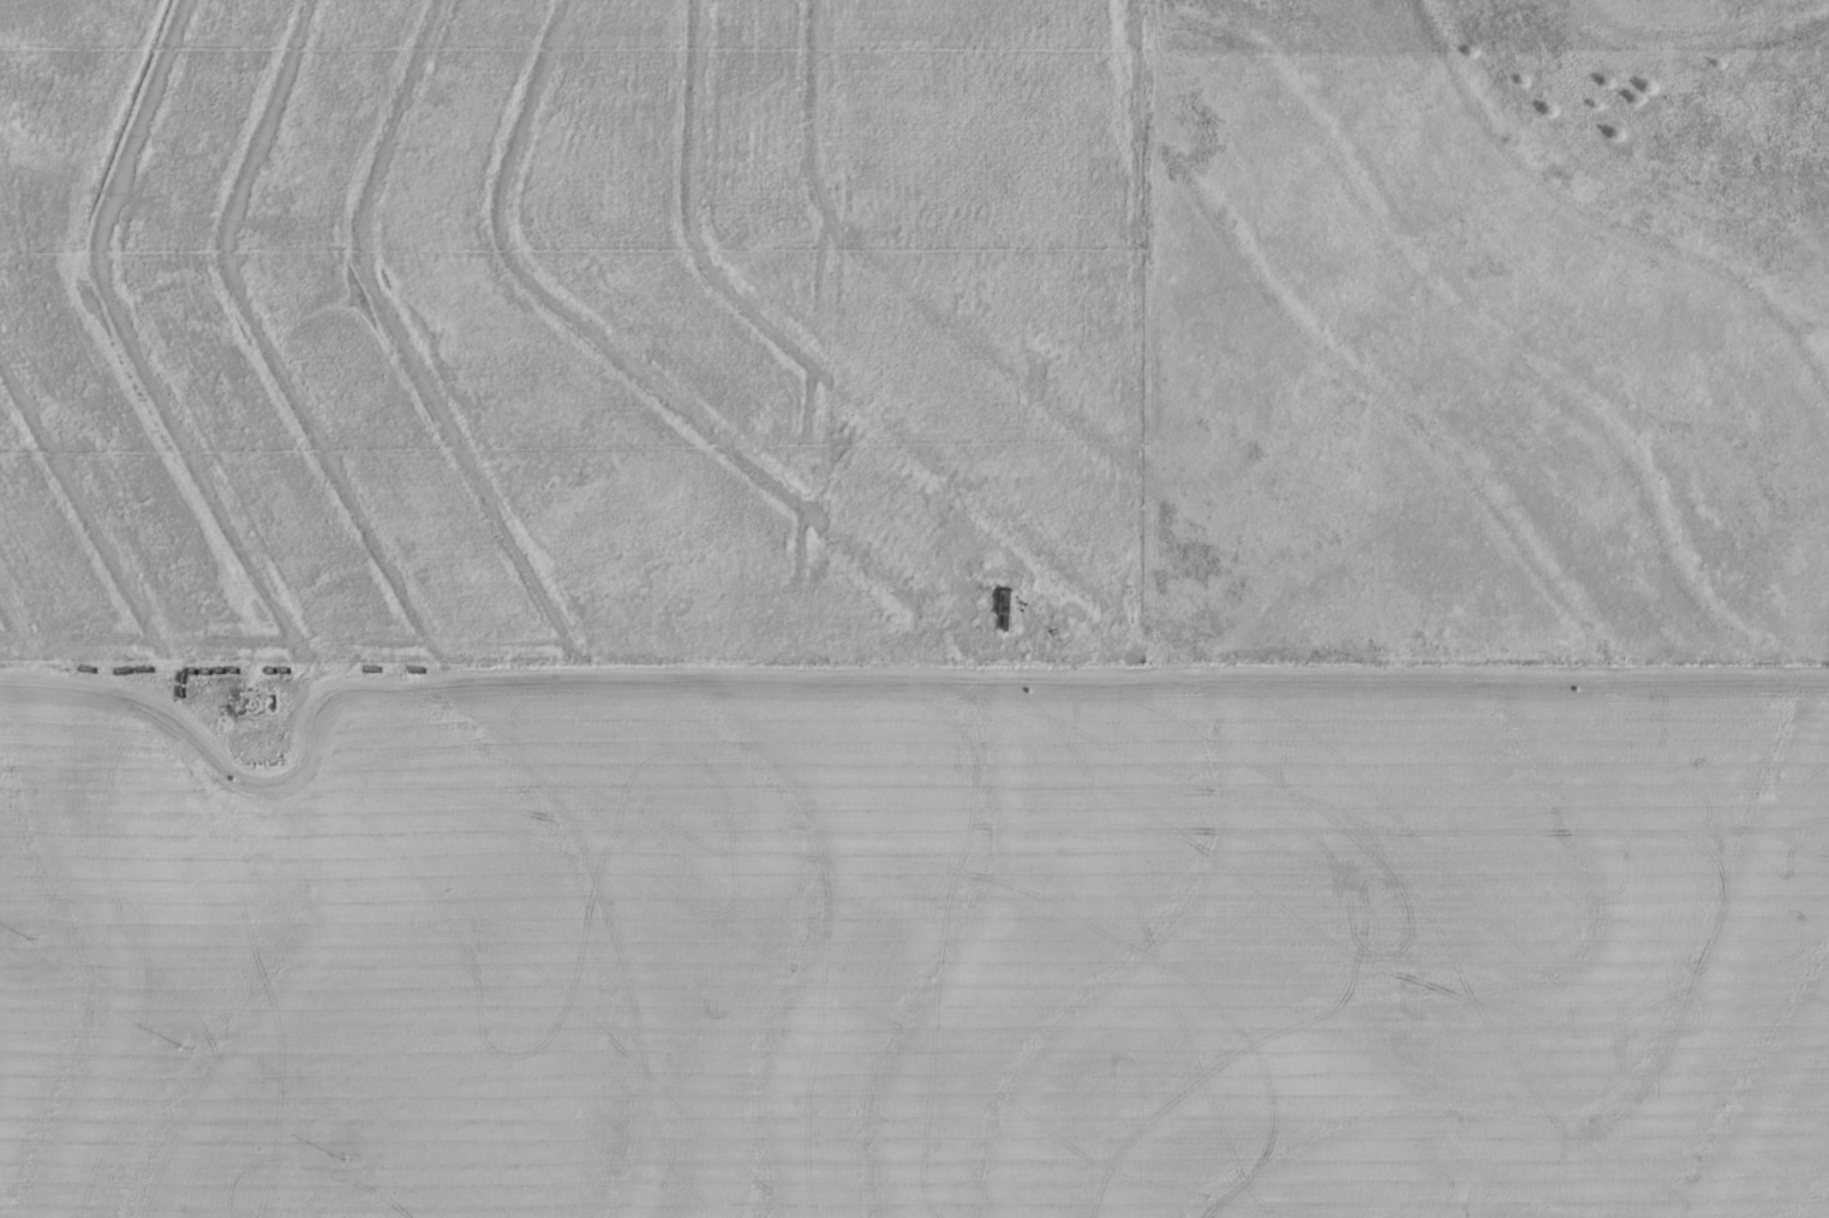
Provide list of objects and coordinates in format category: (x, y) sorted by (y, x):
building: (1005, 602)

